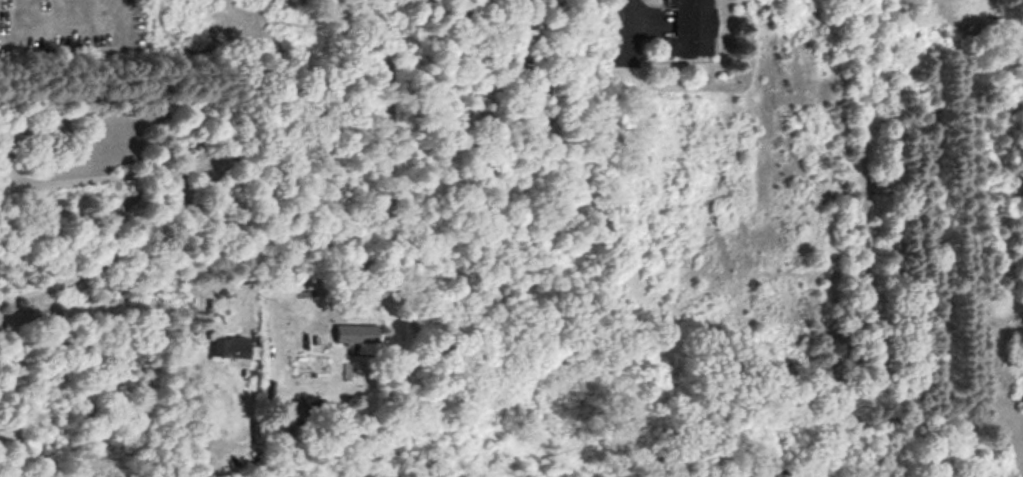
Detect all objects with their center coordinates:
road: (632, 20)
building: (693, 29)
road: (376, 88)
road: (240, 155)
road: (128, 247)
building: (359, 338)
road: (866, 338)
building: (235, 350)

